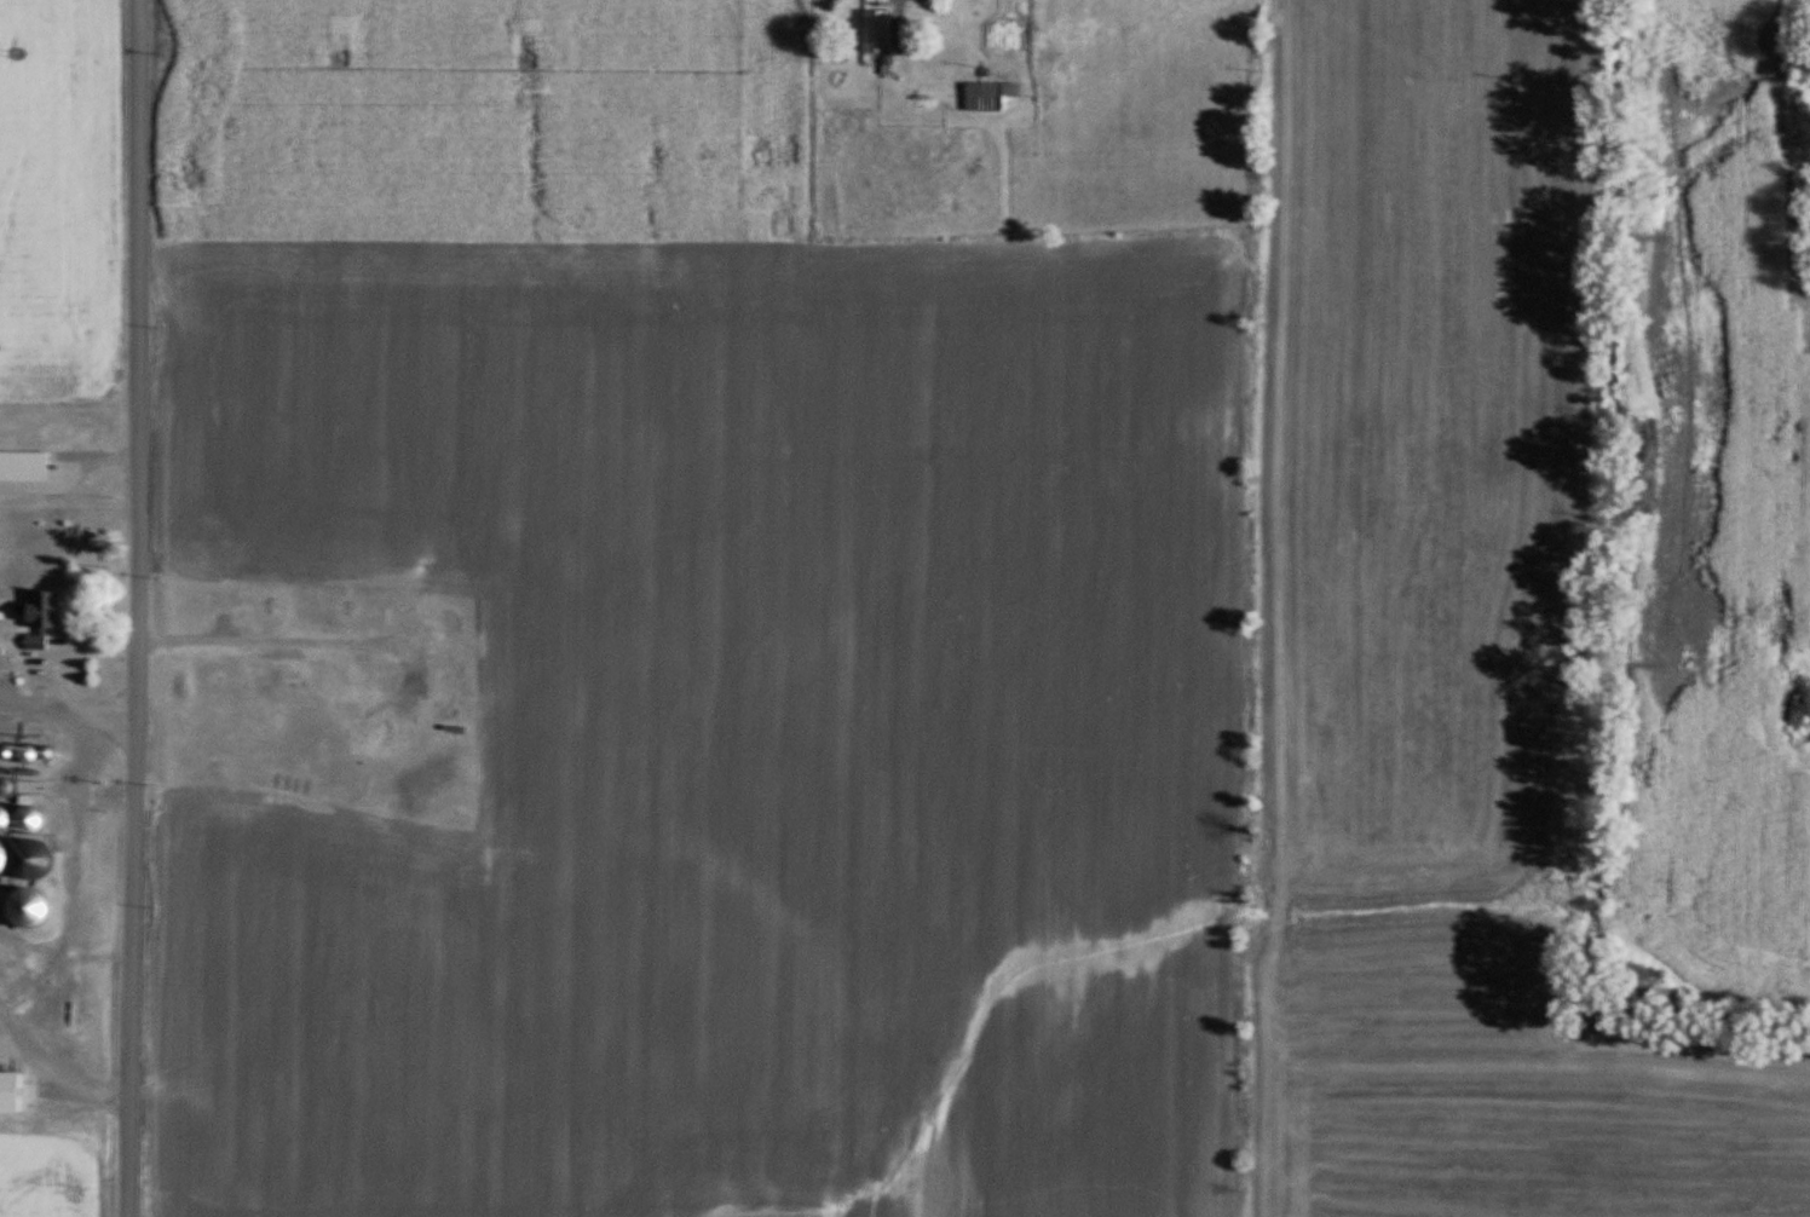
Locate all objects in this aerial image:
building: (876, 33)
building: (987, 94)
building: (23, 468)
road: (128, 608)
building: (40, 618)
road: (63, 693)
road: (80, 765)
building: (1, 819)
building: (27, 819)
building: (0, 860)
building: (28, 863)
building: (27, 911)
road: (56, 1061)
building: (8, 1095)

